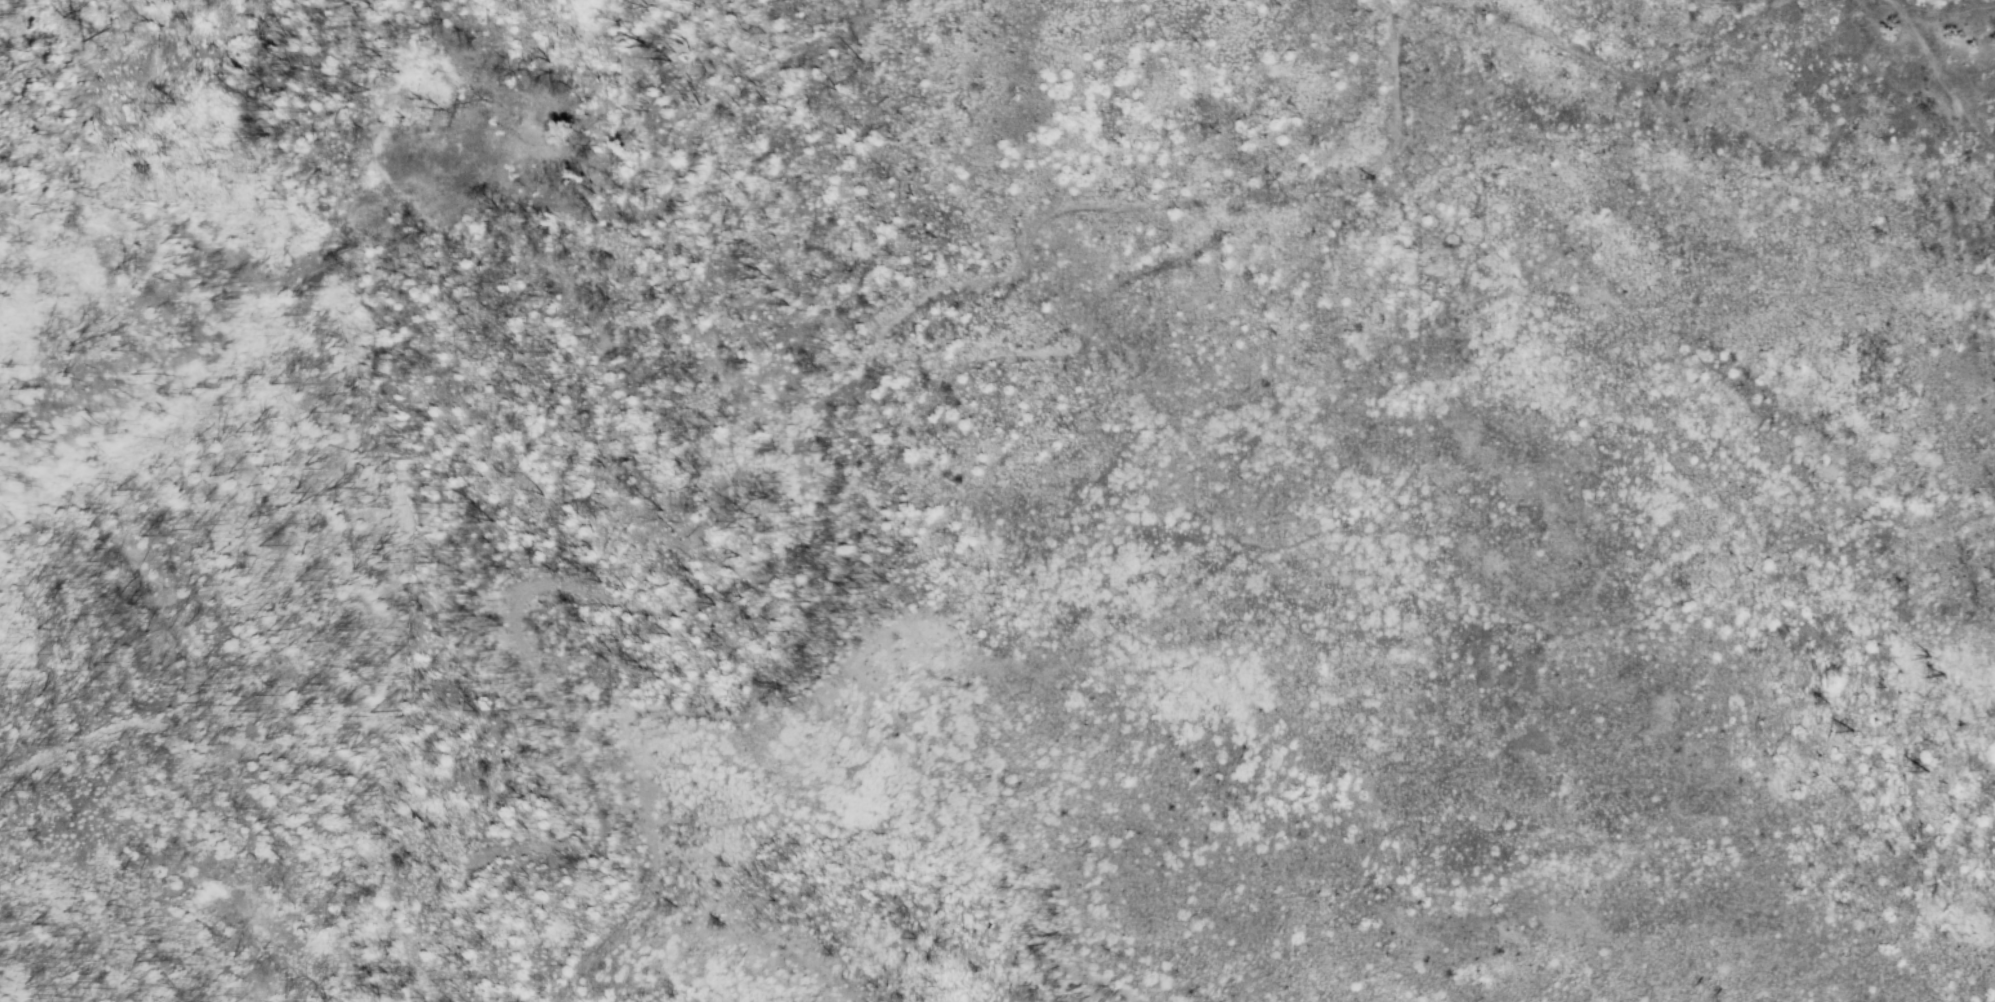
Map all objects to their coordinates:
road: (1949, 92)

